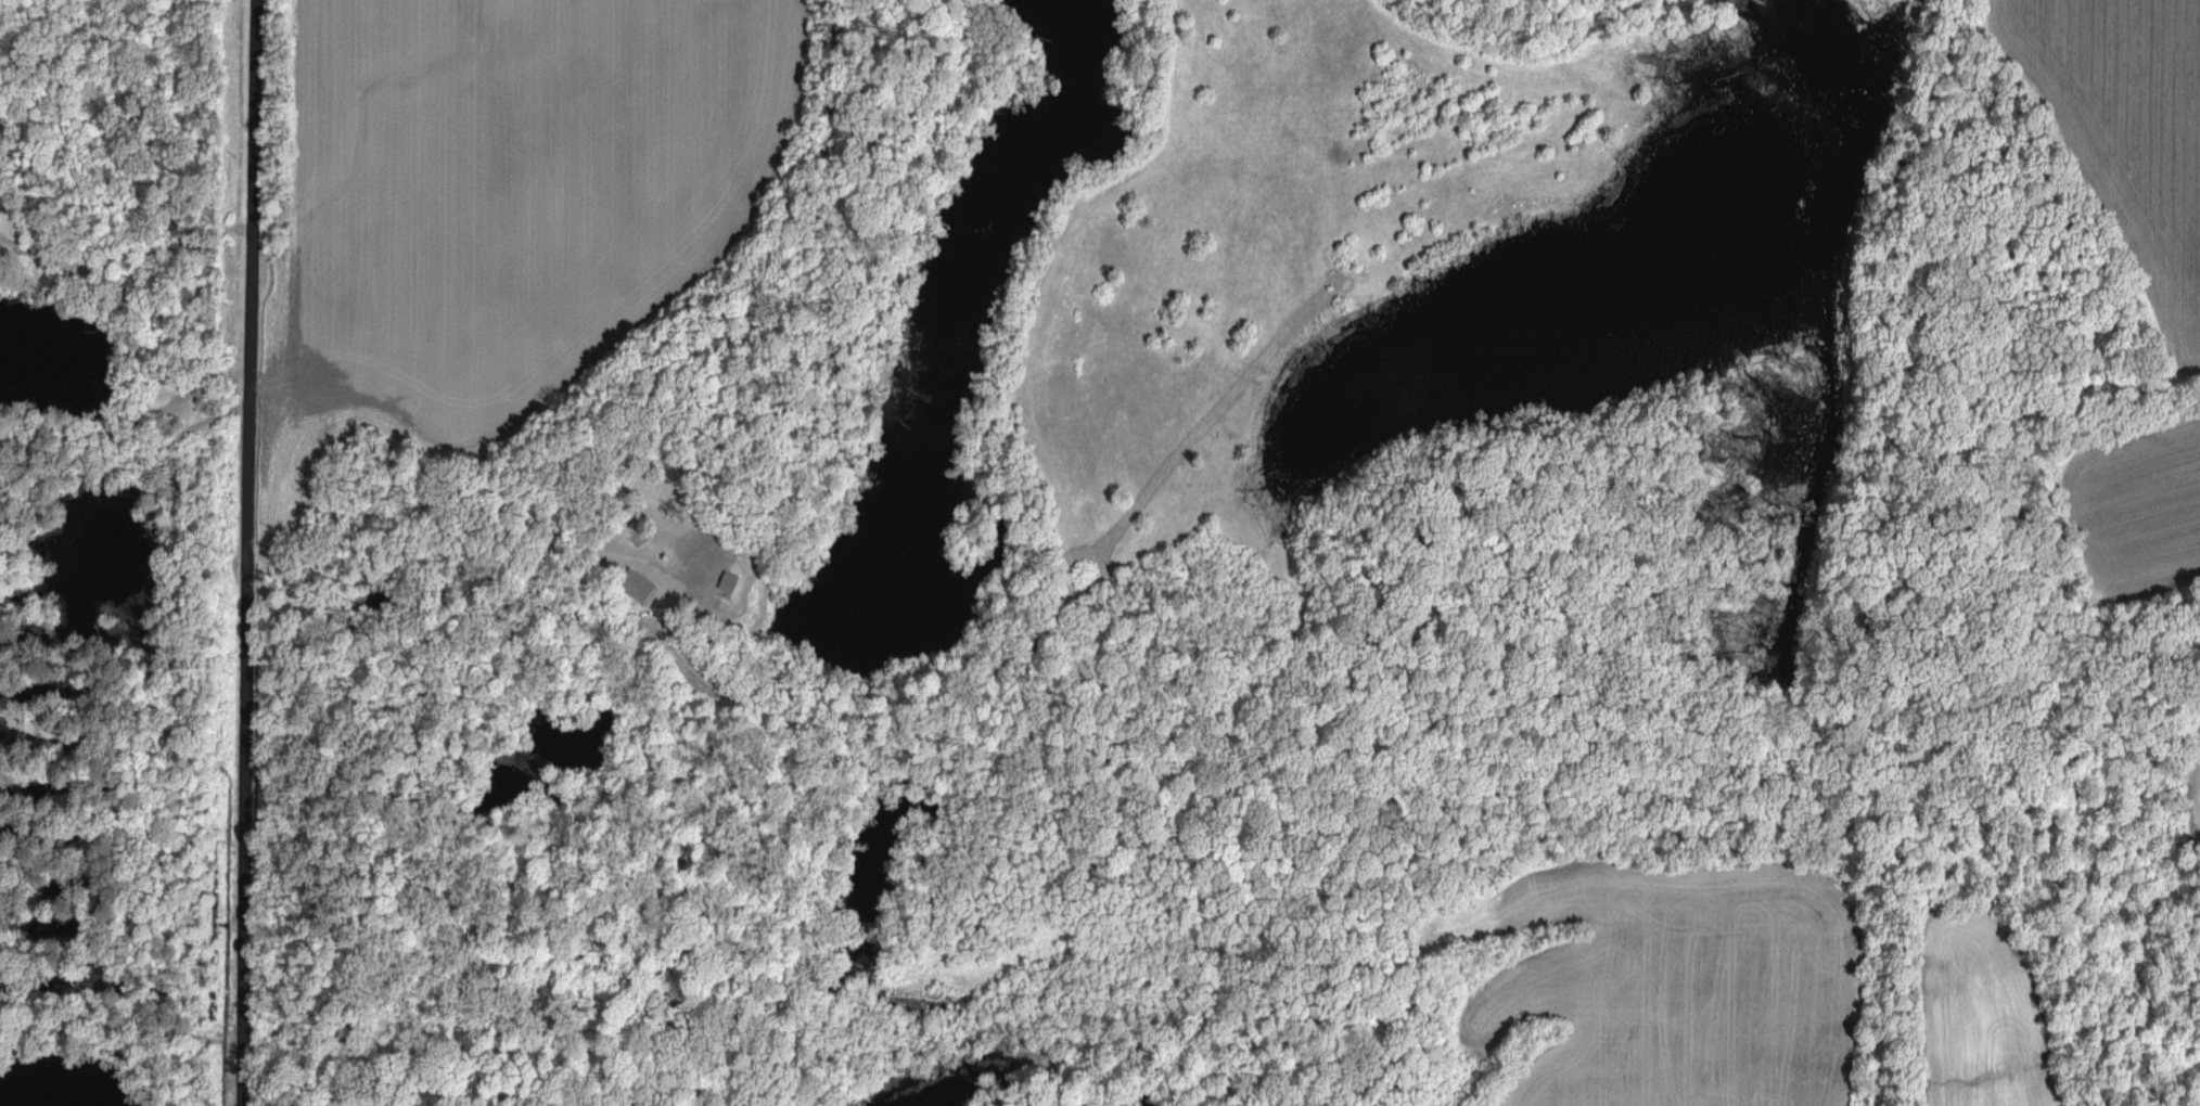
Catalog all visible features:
road: (121, 240)
road: (248, 553)
building: (717, 574)
building: (640, 586)

